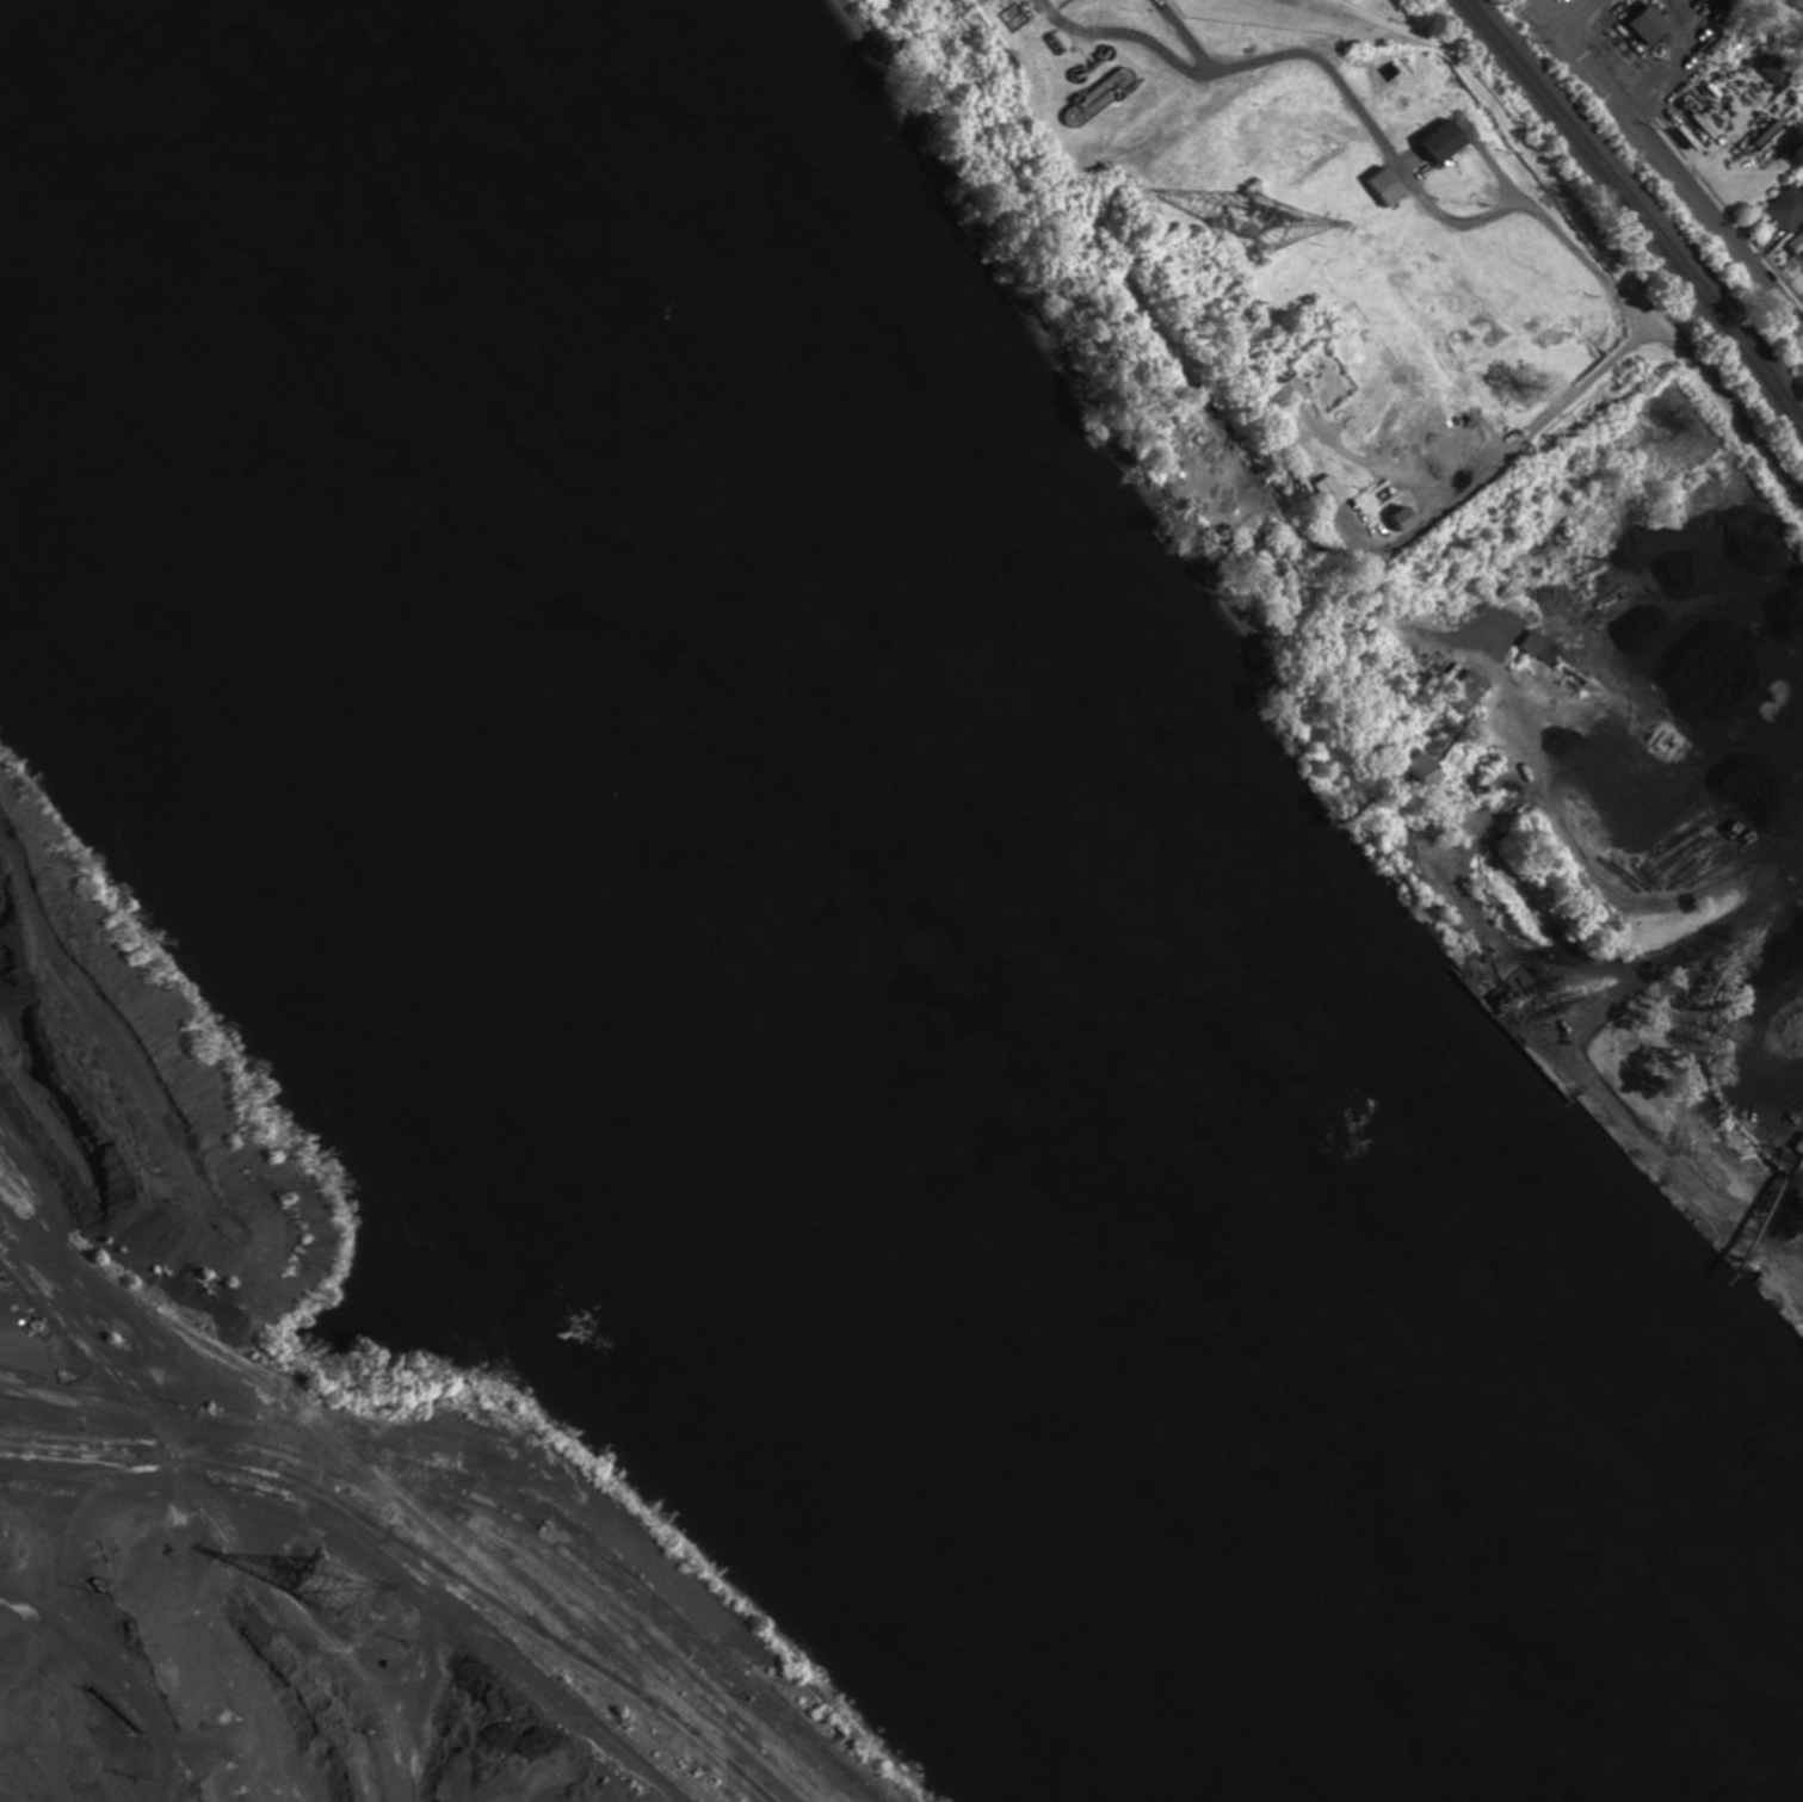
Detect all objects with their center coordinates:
road: (1543, 17)
road: (1575, 17)
building: (1630, 30)
road: (1679, 190)
railway: (1643, 204)
building: (1782, 209)
power tower: (1255, 215)
railway: (1634, 216)
road: (1585, 221)
building: (1802, 273)
building: (1283, 391)
building: (1330, 490)
building: (1469, 687)
building: (1422, 767)
river: (881, 942)
building: (1801, 1160)
railway: (33, 1201)
railway: (35, 1210)
railway: (115, 1280)
railway: (298, 1408)
railway: (370, 1519)
railway: (444, 1536)
road: (242, 1539)
railway: (405, 1555)
railway: (625, 1573)
power tower: (322, 1578)
railway: (581, 1596)
railway: (556, 1604)
railway: (626, 1605)
railway: (579, 1698)
railway: (666, 1764)
railway: (679, 1764)
railway: (736, 1764)
railway: (733, 1796)

